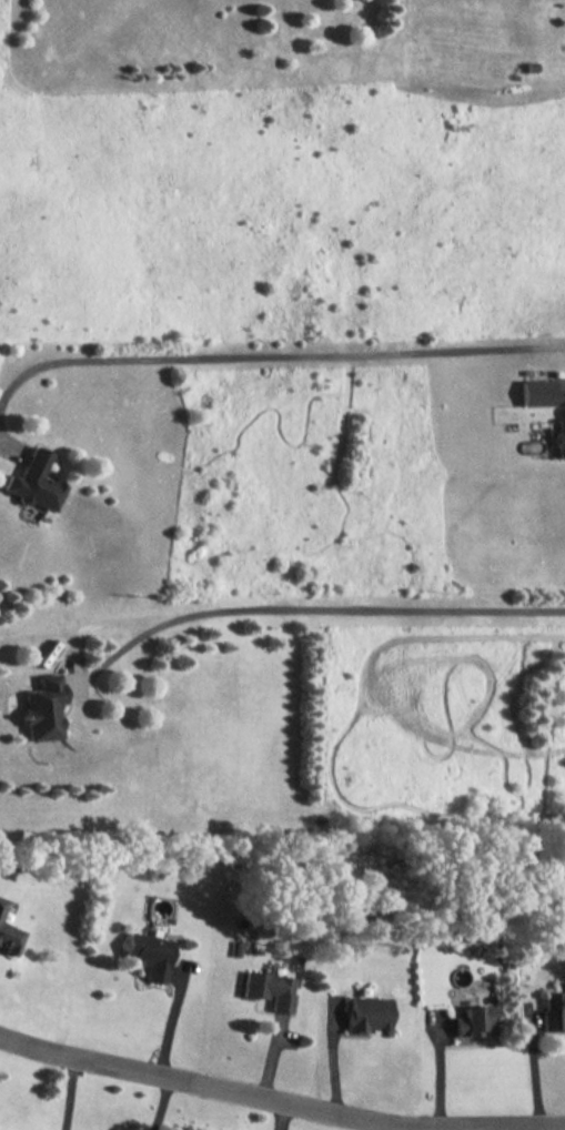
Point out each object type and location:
road: (275, 356)
building: (536, 393)
building: (558, 438)
building: (33, 483)
road: (313, 608)
building: (41, 709)
building: (1, 904)
building: (9, 939)
building: (147, 955)
building: (268, 989)
building: (551, 1009)
building: (367, 1013)
road: (171, 1018)
building: (472, 1020)
road: (333, 1060)
road: (531, 1063)
road: (67, 1094)
road: (280, 1100)
road: (159, 1104)

